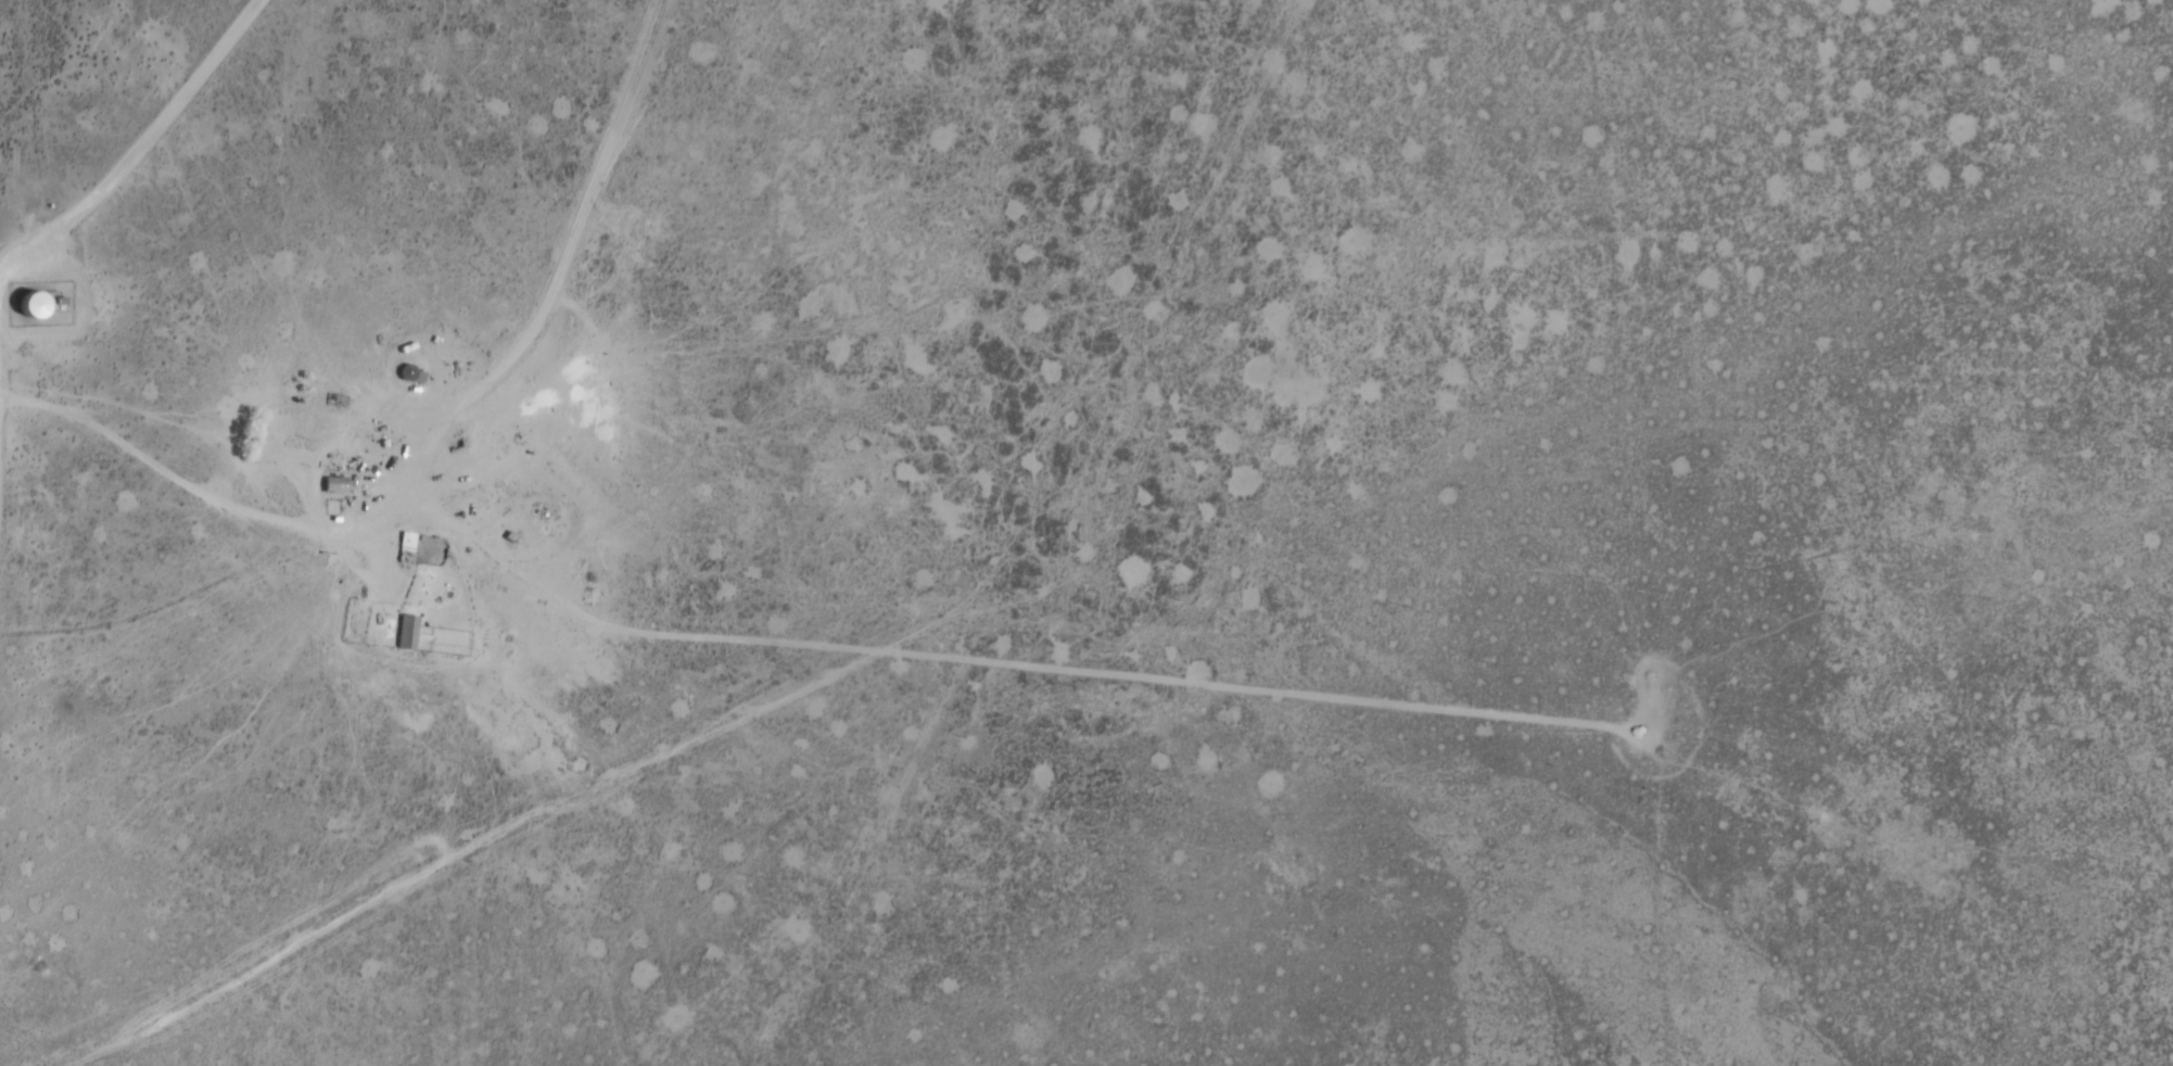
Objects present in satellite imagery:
road: (122, 163)
building: (37, 305)
road: (1147, 330)
road: (2, 335)
road: (5, 454)
road: (437, 459)
building: (336, 484)
building: (408, 632)
road: (526, 860)
road: (882, 863)

